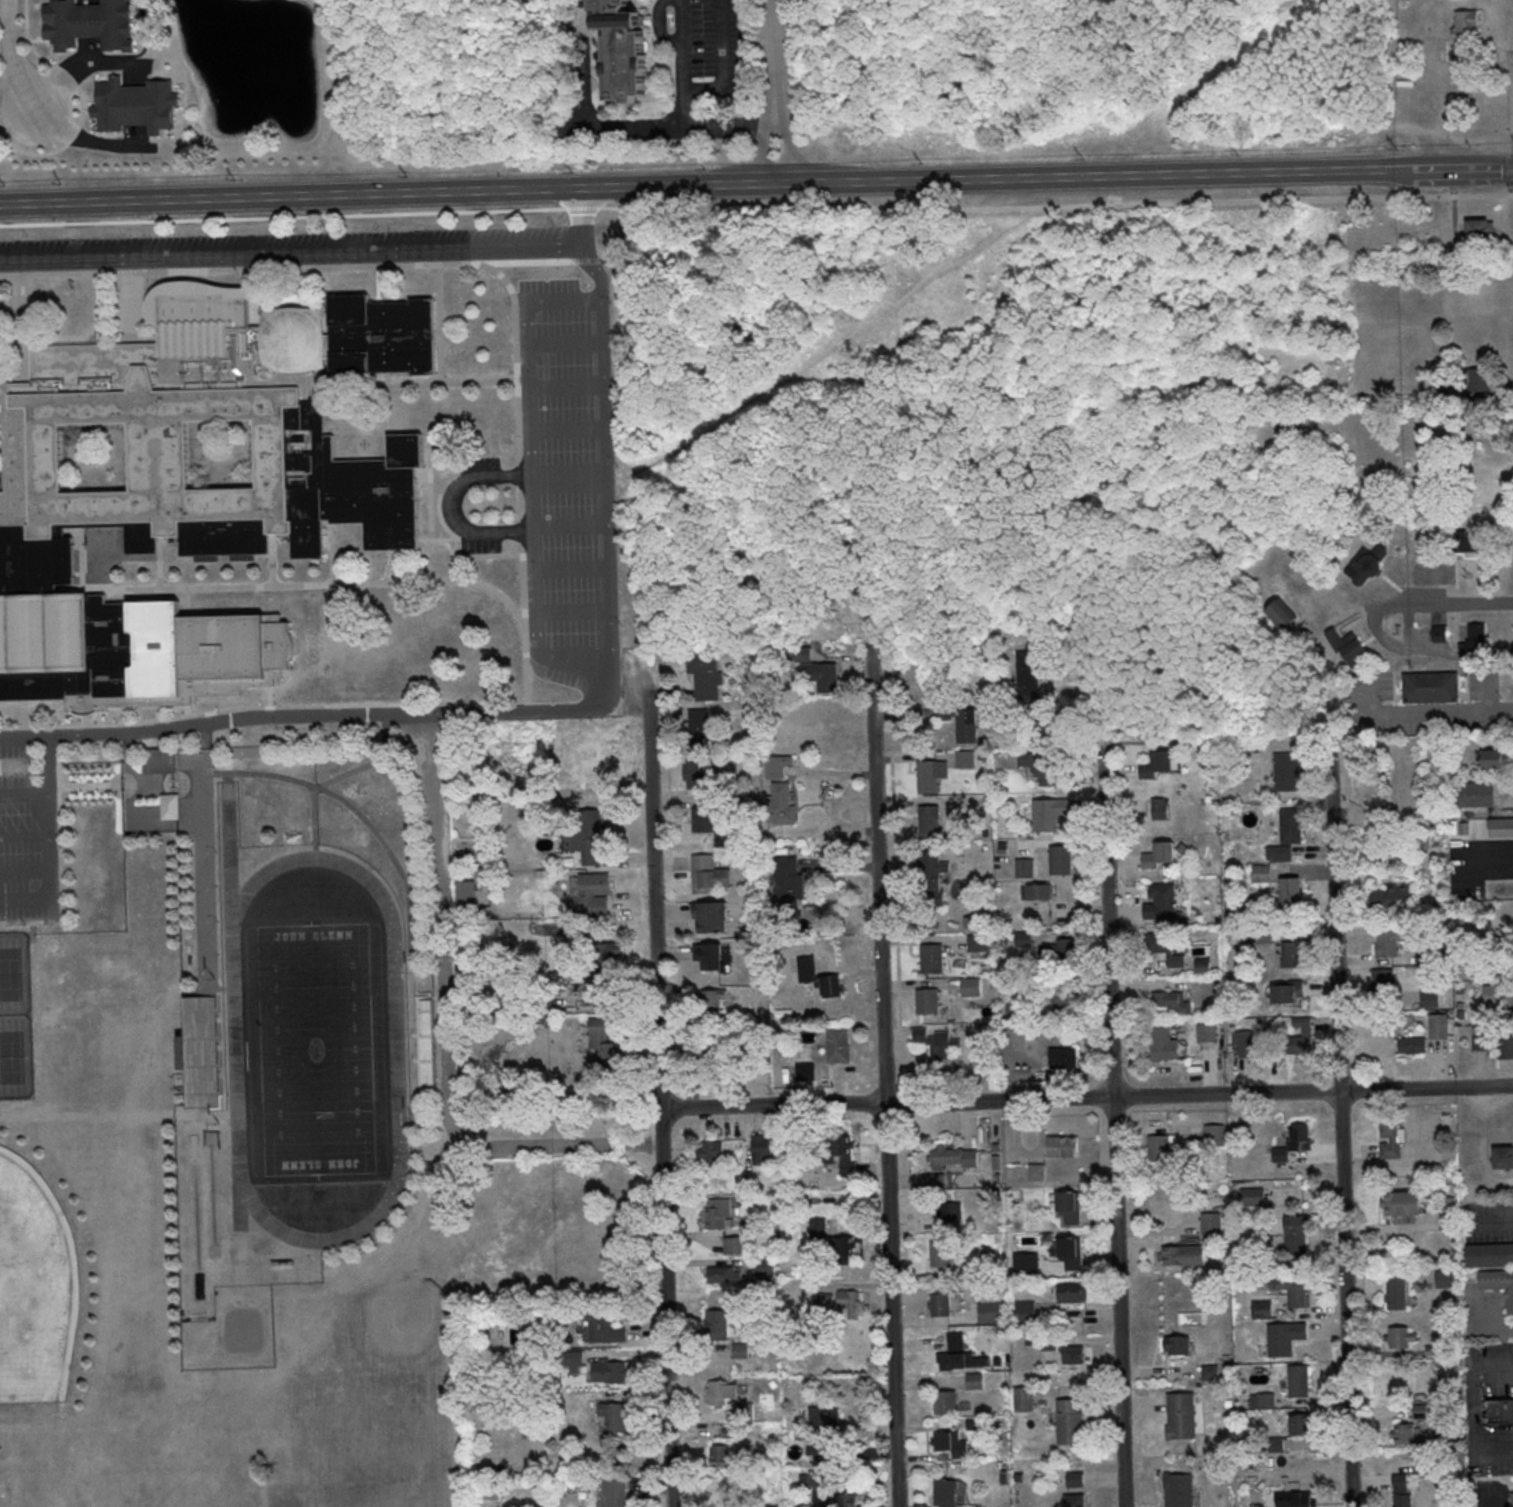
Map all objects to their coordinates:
road: (4, 6)
road: (25, 19)
building: (88, 24)
building: (1465, 34)
parking lot: (708, 49)
building: (623, 50)
road: (1511, 51)
road: (12, 56)
road: (684, 64)
road: (13, 92)
road: (773, 92)
building: (135, 105)
road: (81, 120)
road: (616, 130)
road: (81, 140)
road: (756, 184)
road: (583, 202)
road: (291, 208)
road: (1048, 208)
building: (1481, 231)
road: (319, 251)
road: (525, 300)
road: (439, 322)
road: (551, 342)
building: (1480, 379)
road: (418, 382)
road: (552, 387)
road: (553, 427)
road: (555, 476)
road: (491, 477)
building: (1489, 494)
road: (520, 496)
road: (453, 504)
building: (208, 506)
road: (526, 532)
building: (1467, 544)
road: (272, 559)
road: (160, 562)
building: (1367, 564)
road: (562, 567)
road: (303, 584)
road: (1461, 606)
road: (564, 611)
building: (1281, 614)
road: (535, 625)
building: (1476, 637)
road: (1381, 640)
road: (1506, 651)
road: (1454, 654)
building: (1027, 669)
building: (817, 671)
building: (705, 673)
building: (1432, 688)
road: (528, 711)
road: (1424, 713)
building: (961, 722)
building: (700, 728)
building: (965, 758)
building: (1495, 759)
building: (162, 761)
building: (1041, 766)
building: (1158, 766)
building: (777, 767)
building: (1288, 773)
building: (696, 774)
building: (928, 777)
building: (1476, 793)
road: (24, 794)
building: (782, 806)
building: (1159, 807)
building: (171, 808)
building: (1044, 816)
building: (707, 819)
building: (932, 822)
building: (1292, 826)
building: (1501, 829)
road: (24, 832)
building: (585, 837)
road: (49, 841)
building: (1280, 854)
road: (1493, 855)
building: (1160, 857)
building: (1061, 862)
building: (931, 867)
building: (1024, 867)
road: (24, 872)
building: (1262, 875)
building: (709, 876)
building: (788, 883)
building: (1037, 891)
building: (1292, 893)
building: (465, 894)
building: (1393, 895)
building: (593, 897)
road: (657, 900)
building: (1162, 903)
building: (715, 919)
road: (446, 926)
building: (1266, 936)
building: (978, 942)
building: (1388, 943)
building: (1065, 948)
building: (1164, 950)
building: (606, 954)
building: (1432, 954)
building: (713, 957)
building: (1294, 957)
building: (933, 960)
building: (819, 978)
building: (603, 983)
building: (1383, 984)
building: (971, 985)
building: (1289, 994)
building: (1498, 996)
building: (1065, 998)
building: (1430, 999)
building: (713, 1000)
building: (928, 1001)
building: (1172, 1003)
building: (1439, 1028)
building: (1206, 1034)
building: (1302, 1036)
building: (602, 1041)
building: (1479, 1042)
building: (1246, 1045)
building: (1164, 1046)
building: (1412, 1046)
building: (939, 1047)
building: (1505, 1047)
building: (839, 1049)
building: (707, 1055)
building: (1059, 1057)
building: (805, 1072)
building: (1024, 1073)
road: (886, 1075)
road: (1088, 1098)
road: (1340, 1123)
road: (1113, 1127)
road: (664, 1128)
building: (1215, 1136)
building: (1391, 1136)
building: (1300, 1138)
road: (562, 1147)
building: (1063, 1148)
building: (760, 1149)
building: (1162, 1149)
building: (709, 1152)
building: (843, 1154)
building: (955, 1158)
building: (1504, 1160)
building: (1037, 1173)
building: (933, 1179)
building: (1254, 1199)
building: (1404, 1205)
building: (1448, 1206)
building: (1071, 1209)
building: (947, 1212)
building: (718, 1219)
road: (1492, 1224)
building: (1212, 1225)
building: (818, 1229)
building: (1297, 1231)
building: (735, 1244)
building: (842, 1249)
building: (1071, 1254)
building: (1489, 1254)
building: (943, 1255)
building: (1184, 1257)
building: (1027, 1266)
building: (765, 1268)
building: (725, 1276)
building: (1443, 1278)
building: (1498, 1283)
building: (1295, 1291)
building: (1074, 1294)
building: (1398, 1294)
building: (841, 1304)
building: (942, 1307)
building: (1263, 1311)
building: (990, 1314)
building: (1027, 1314)
building: (604, 1325)
building: (717, 1327)
road: (668, 1328)
building: (1400, 1338)
building: (1286, 1339)
building: (1175, 1345)
building: (1074, 1354)
building: (961, 1357)
building: (573, 1361)
road: (1503, 1367)
building: (610, 1373)
building: (1212, 1375)
building: (975, 1380)
building: (1301, 1381)
building: (719, 1391)
building: (1025, 1400)
building: (1262, 1400)
building: (947, 1404)
road: (1474, 1406)
building: (1500, 1409)
building: (614, 1416)
building: (1183, 1418)
building: (1071, 1424)
building: (1300, 1424)
building: (1407, 1427)
road: (1473, 1436)
building: (950, 1444)
road: (1493, 1453)
building: (718, 1455)
building: (819, 1455)
building: (811, 1478)
building: (1076, 1481)
building: (1401, 1490)
building: (614, 1491)
building: (1180, 1491)
building: (946, 1493)
building: (1511, 1499)
building: (843, 1500)
building: (1076, 1501)
building: (1304, 1501)

